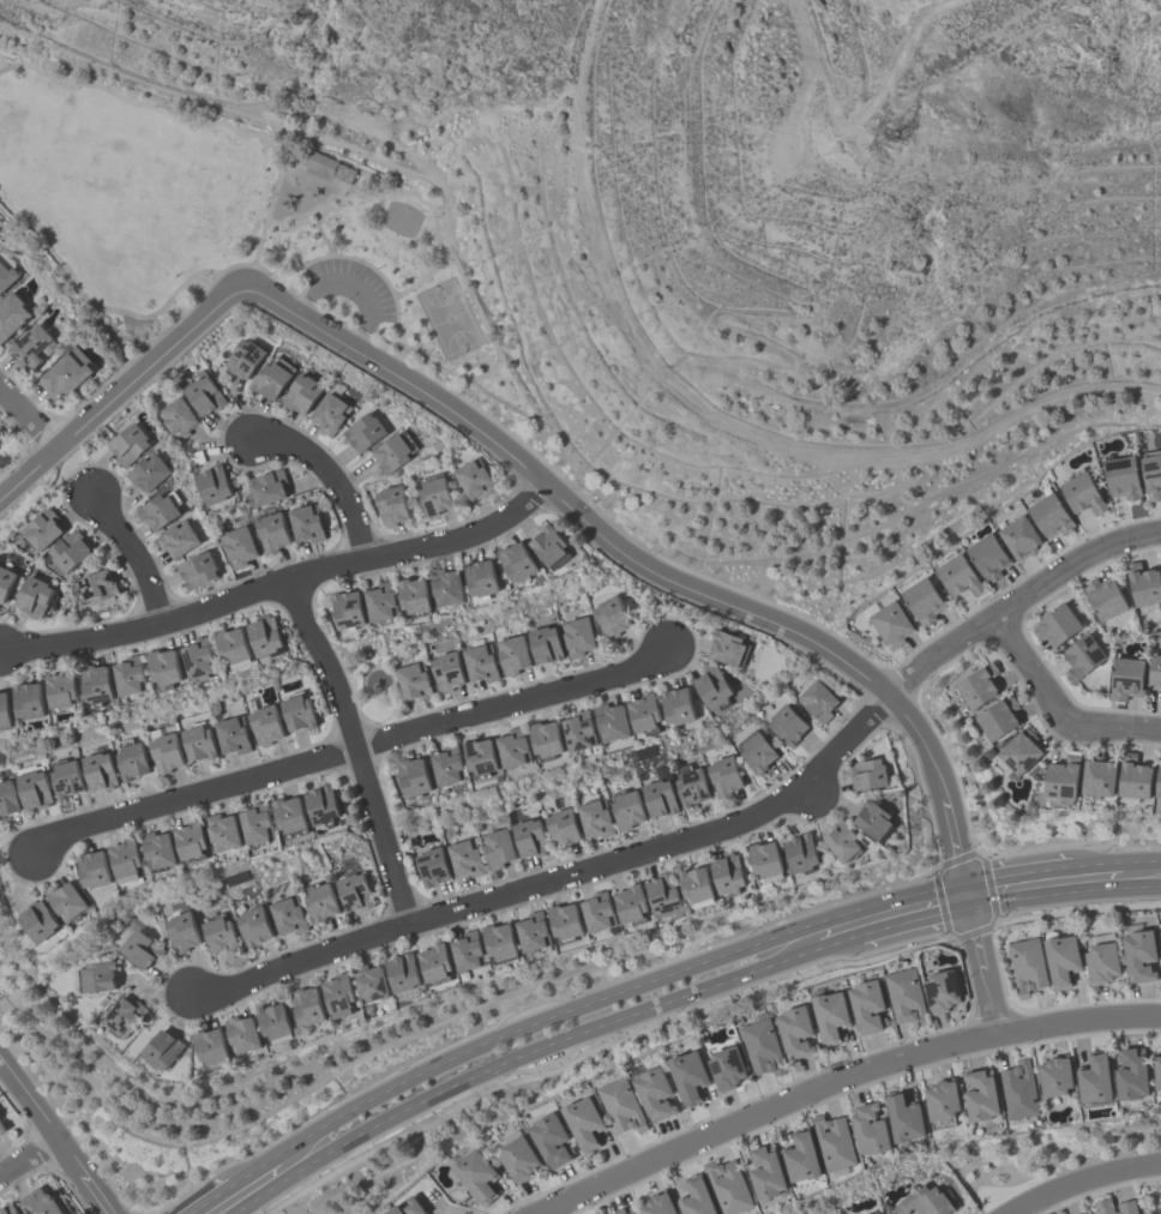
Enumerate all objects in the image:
road: (151, 103)
power tower: (895, 119)
road: (864, 126)
road: (291, 148)
building: (321, 163)
road: (329, 199)
road: (311, 212)
road: (288, 217)
park: (402, 218)
road: (315, 224)
park: (245, 227)
road: (325, 240)
building: (6, 276)
road: (423, 278)
parking lot: (354, 286)
road: (353, 288)
road: (158, 312)
building: (10, 313)
park: (450, 318)
road: (487, 330)
building: (30, 345)
building: (242, 357)
building: (62, 372)
building: (270, 377)
road: (121, 390)
building: (203, 392)
building: (300, 392)
building: (329, 413)
road: (718, 413)
building: (176, 416)
road: (28, 417)
building: (362, 429)
building: (0, 438)
building: (127, 443)
building: (392, 450)
building: (146, 470)
building: (1150, 473)
building: (1120, 475)
road: (332, 476)
building: (474, 476)
building: (213, 482)
building: (267, 486)
building: (434, 493)
building: (1082, 493)
building: (391, 504)
building: (158, 509)
building: (1049, 515)
building: (306, 522)
building: (42, 528)
building: (271, 531)
building: (1019, 537)
building: (176, 539)
building: (237, 545)
building: (549, 546)
building: (70, 549)
road: (134, 554)
building: (987, 555)
building: (516, 560)
road: (639, 564)
building: (197, 569)
building: (958, 575)
building: (481, 577)
building: (5, 581)
road: (279, 583)
building: (1143, 583)
building: (446, 585)
building: (96, 587)
building: (414, 594)
building: (34, 596)
building: (1103, 596)
road: (1018, 599)
building: (922, 600)
building: (380, 601)
building: (347, 609)
building: (609, 615)
building: (890, 623)
building: (1055, 624)
building: (265, 635)
building: (577, 635)
building: (543, 643)
building: (231, 644)
building: (726, 647)
building: (512, 654)
building: (1082, 655)
building: (198, 656)
building: (480, 662)
building: (163, 666)
road: (1030, 669)
building: (1154, 669)
building: (446, 671)
building: (130, 674)
building: (1125, 677)
building: (413, 680)
building: (96, 681)
building: (977, 684)
building: (712, 686)
building: (61, 687)
building: (28, 698)
building: (817, 701)
building: (678, 704)
building: (4, 709)
building: (297, 710)
building: (643, 711)
building: (999, 716)
building: (610, 720)
building: (787, 723)
building: (265, 725)
road: (1113, 727)
building: (578, 729)
building: (231, 734)
building: (545, 739)
building: (197, 740)
road: (348, 746)
building: (513, 746)
road: (356, 750)
building: (1021, 750)
building: (757, 751)
building: (164, 752)
building: (480, 755)
building: (131, 758)
building: (449, 764)
building: (98, 770)
building: (867, 773)
building: (414, 775)
building: (723, 775)
building: (1099, 775)
building: (1133, 775)
building: (1063, 776)
building: (65, 777)
building: (1157, 780)
building: (690, 785)
building: (34, 788)
building: (658, 797)
building: (7, 798)
building: (323, 804)
building: (626, 809)
building: (290, 816)
building: (595, 817)
building: (874, 819)
building: (257, 823)
building: (561, 827)
building: (223, 831)
building: (528, 837)
building: (190, 840)
building: (843, 840)
building: (157, 848)
building: (497, 848)
building: (801, 852)
building: (125, 857)
building: (465, 858)
building: (764, 858)
road: (1141, 863)
building: (431, 866)
road: (1096, 866)
building: (92, 867)
building: (728, 873)
road: (1017, 873)
road: (560, 878)
traffic signals: (964, 883)
building: (696, 885)
building: (354, 891)
building: (663, 891)
road: (1063, 894)
road: (964, 896)
building: (66, 901)
building: (319, 901)
building: (631, 903)
building: (597, 910)
building: (287, 915)
building: (38, 919)
building: (564, 921)
building: (253, 925)
road: (913, 925)
building: (180, 931)
building: (533, 931)
building: (1160, 932)
building: (218, 934)
building: (501, 940)
road: (841, 945)
building: (139, 949)
building: (468, 950)
building: (1138, 954)
building: (1061, 957)
building: (437, 962)
building: (1101, 962)
building: (1025, 964)
building: (404, 970)
road: (982, 972)
building: (96, 975)
building: (371, 981)
building: (940, 990)
building: (338, 991)
building: (904, 996)
road: (610, 997)
building: (307, 1004)
building: (866, 1005)
building: (830, 1015)
building: (124, 1016)
building: (273, 1020)
building: (795, 1030)
building: (242, 1033)
building: (211, 1046)
building: (762, 1047)
building: (163, 1048)
road: (517, 1058)
building: (727, 1066)
building: (1157, 1070)
building: (1131, 1072)
building: (687, 1075)
building: (1054, 1075)
building: (1095, 1077)
road: (844, 1080)
building: (1018, 1089)
building: (654, 1093)
building: (981, 1094)
building: (943, 1102)
building: (621, 1105)
building: (904, 1116)
road: (43, 1119)
building: (583, 1122)
building: (1, 1128)
building: (870, 1128)
building: (551, 1140)
building: (834, 1141)
building: (801, 1155)
road: (29, 1156)
building: (519, 1158)
road: (254, 1170)
building: (766, 1171)
building: (476, 1174)
road: (1079, 1182)
building: (728, 1186)
road: (98, 1197)
building: (696, 1197)
road: (211, 1198)
building: (924, 1201)
building: (38, 1202)
building: (657, 1204)
building: (415, 1206)
building: (1126, 1206)
building: (7, 1209)
building: (395, 1209)
building: (624, 1210)
building: (879, 1213)
building: (1082, 1213)

